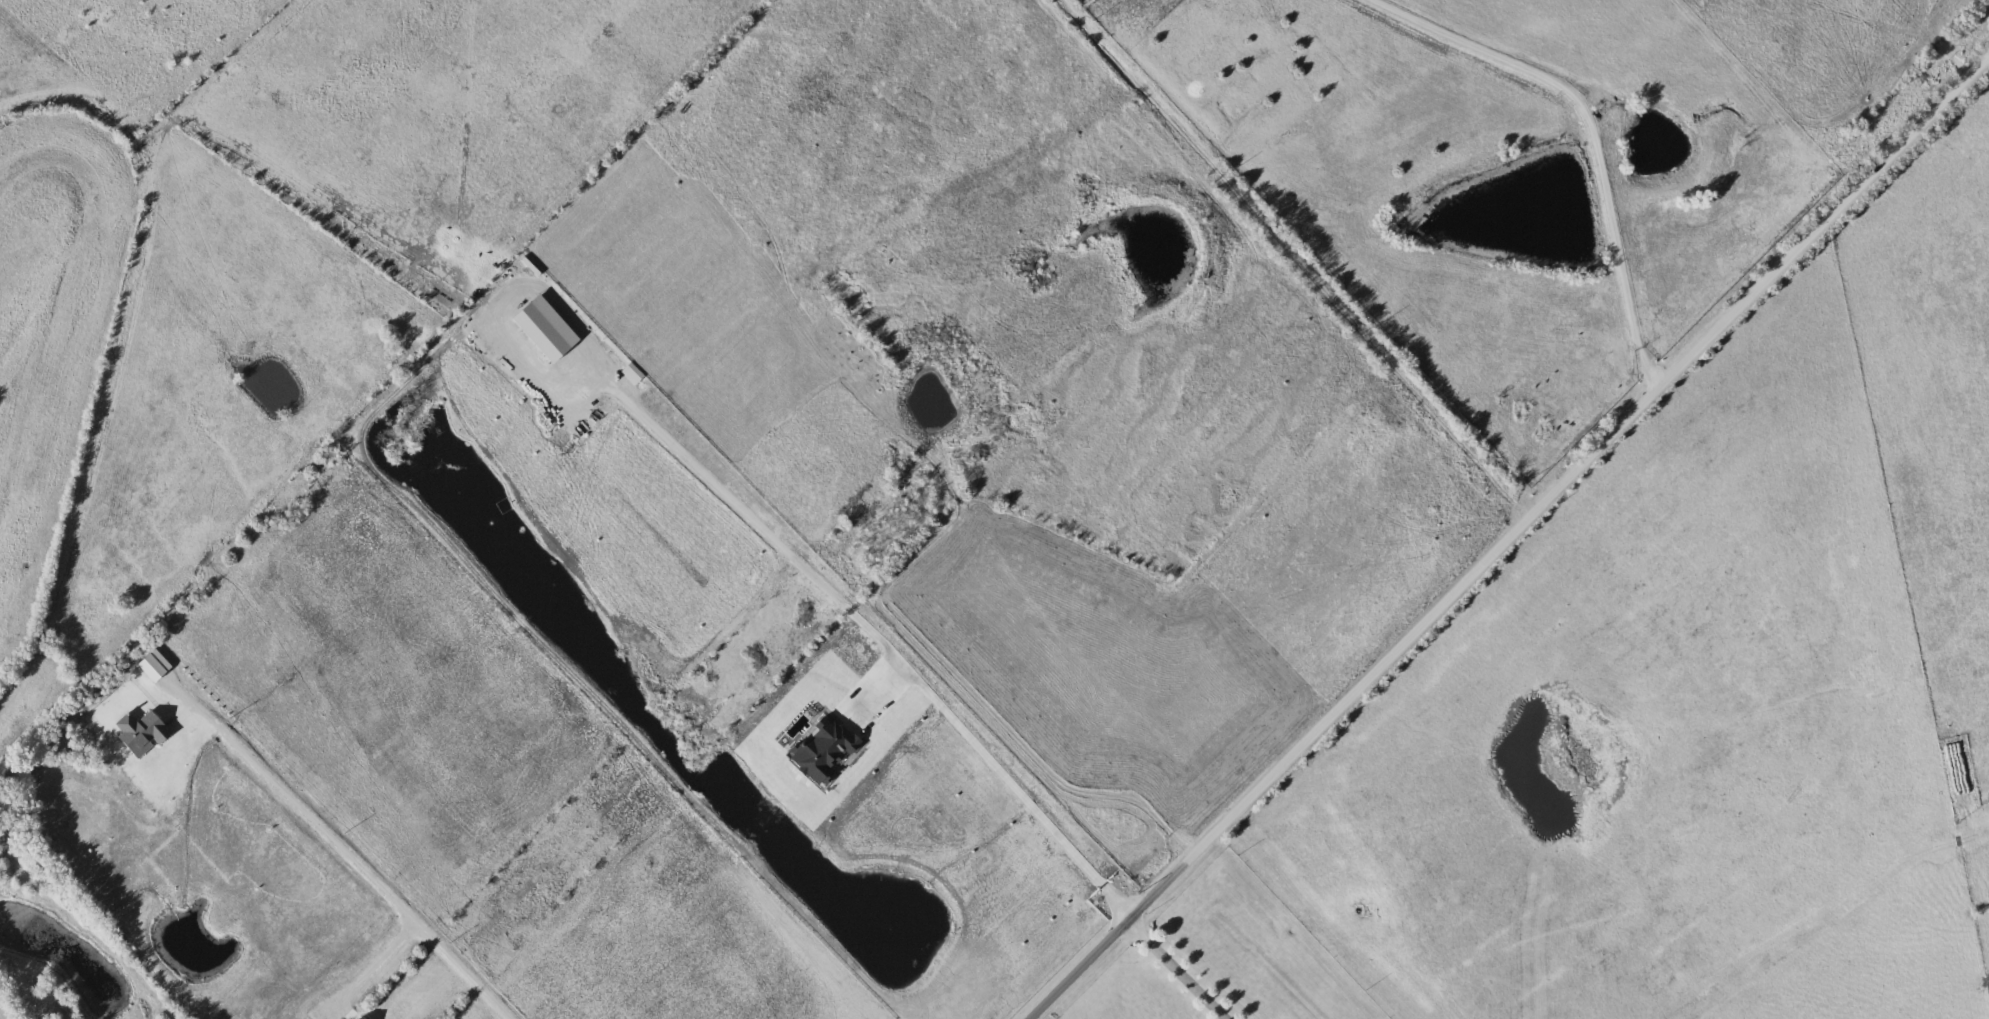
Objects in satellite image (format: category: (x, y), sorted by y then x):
road: (1583, 134)
road: (1506, 534)
road: (1023, 797)
road: (311, 801)
road: (437, 925)
road: (1177, 967)

